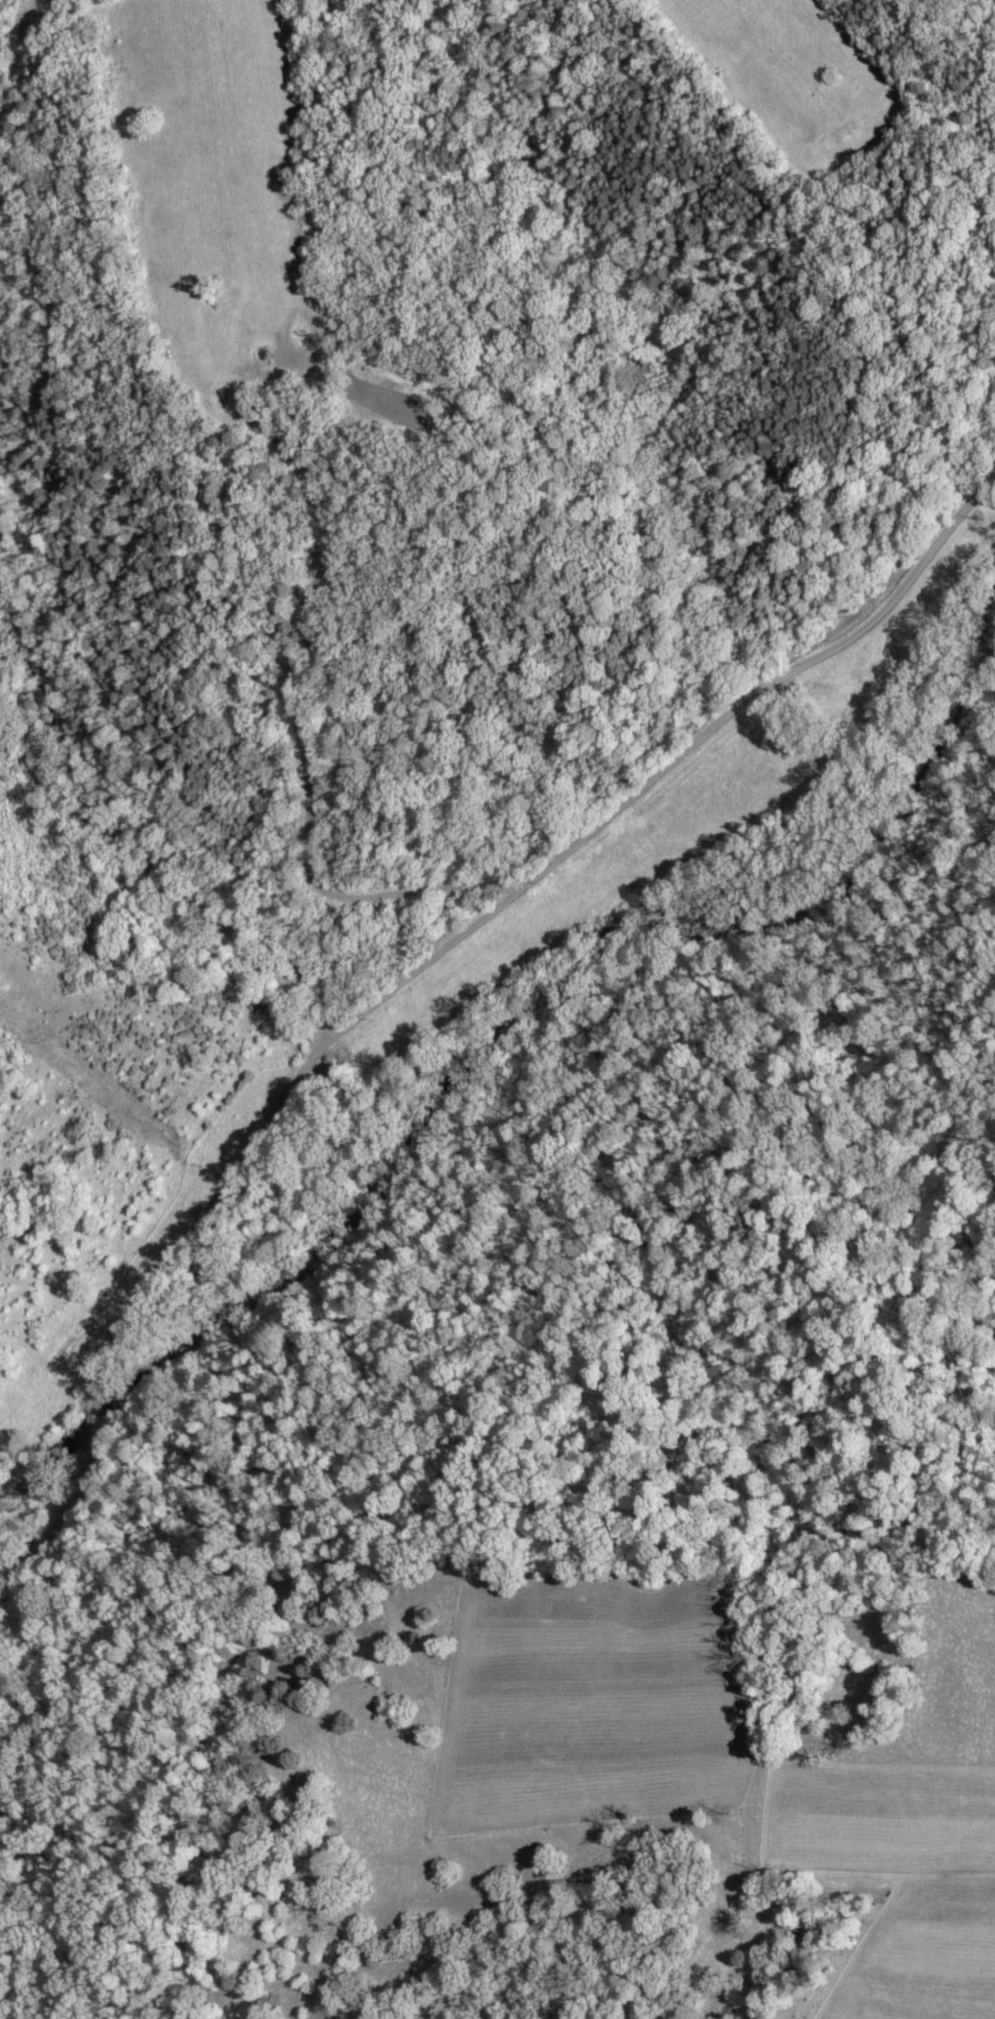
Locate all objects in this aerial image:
road: (126, 827)
road: (415, 969)

